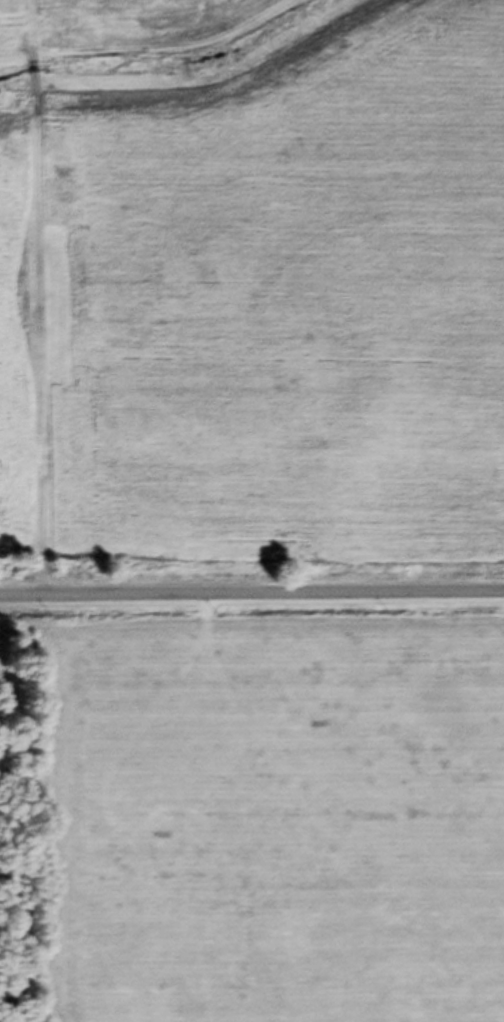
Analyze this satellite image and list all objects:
road: (252, 594)

